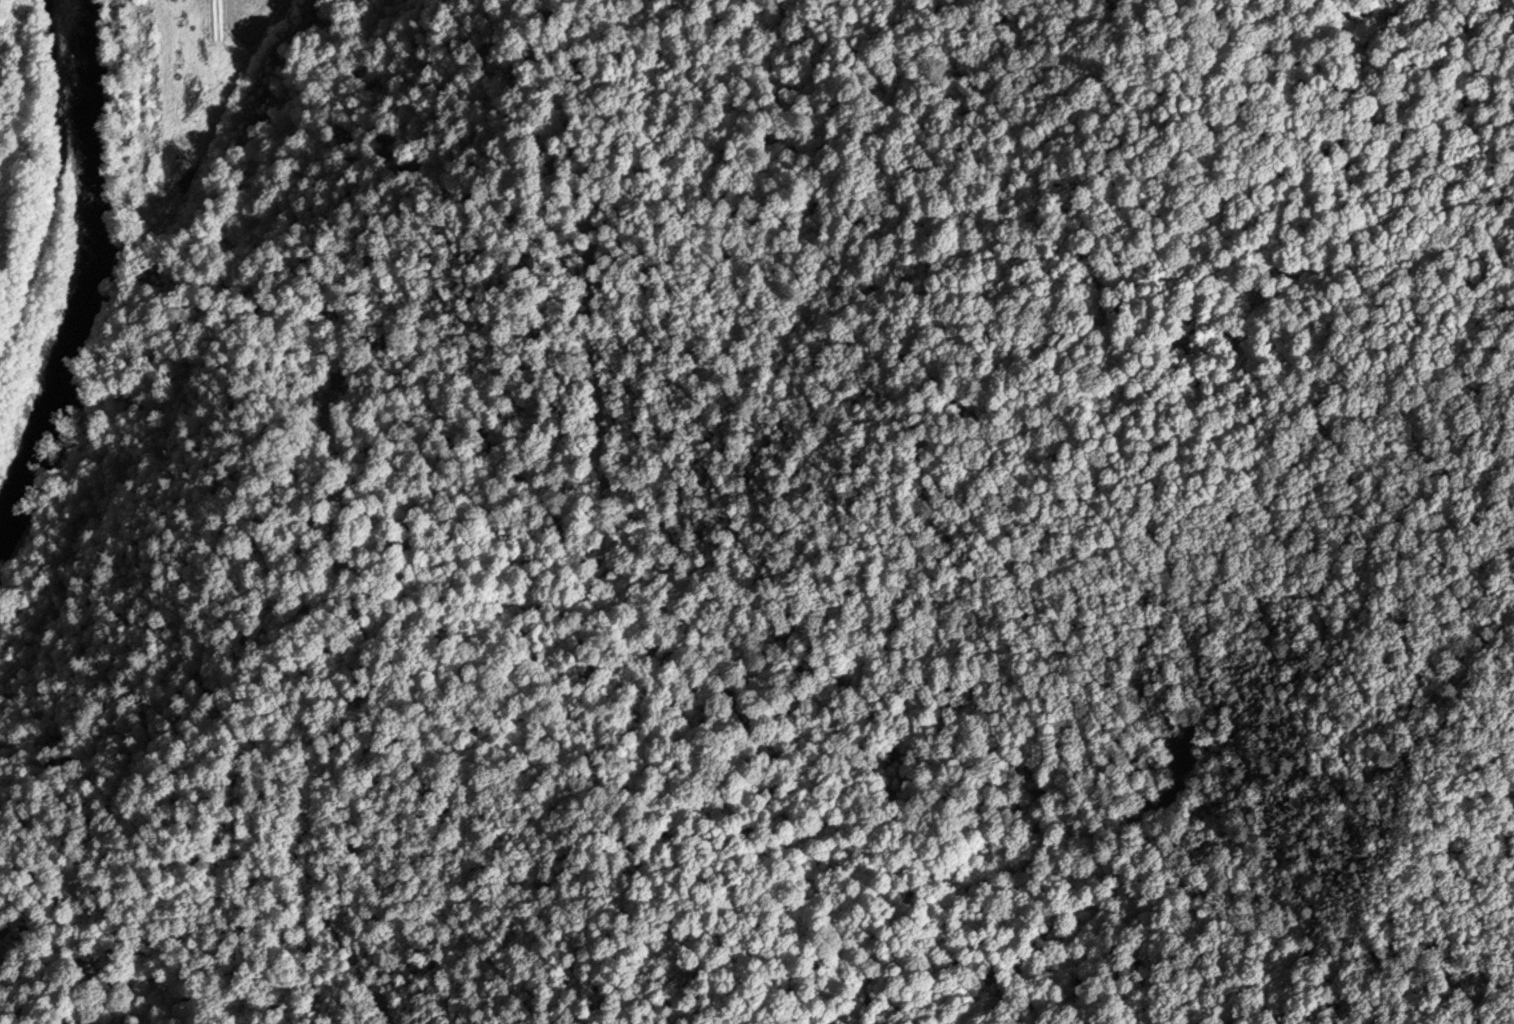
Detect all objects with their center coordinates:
crop: (250, 18)
crop: (0, 21)
river: (84, 263)

